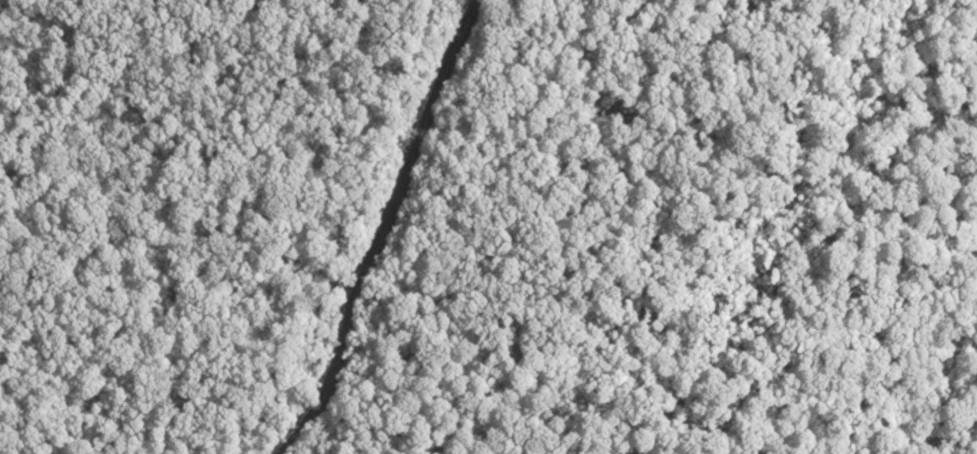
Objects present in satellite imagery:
road: (317, 155)
road: (381, 230)

